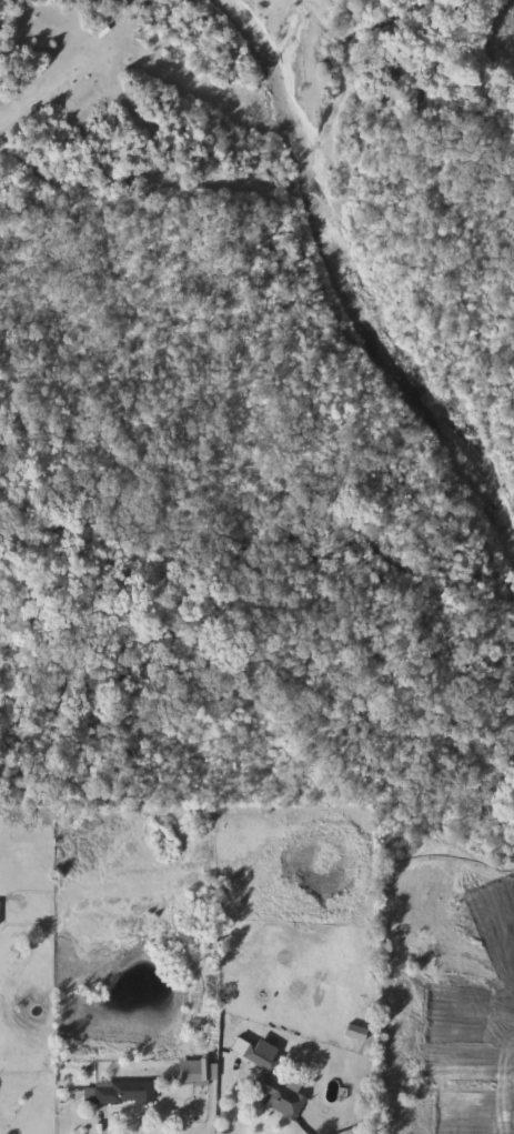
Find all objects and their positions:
building: (355, 1033)
building: (199, 1071)
building: (271, 1078)
building: (124, 1093)
road: (234, 1106)

